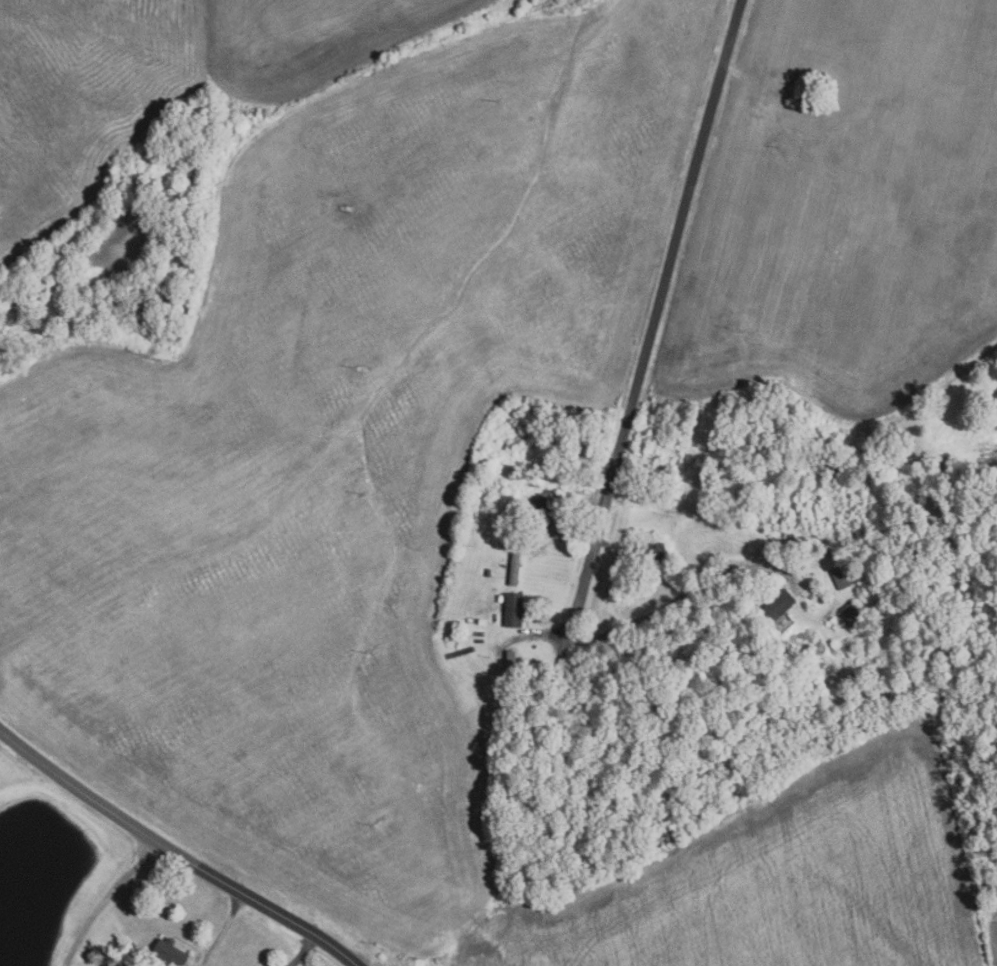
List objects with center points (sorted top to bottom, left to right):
road: (656, 316)
building: (661, 473)
building: (722, 474)
building: (775, 496)
building: (539, 508)
building: (790, 535)
building: (876, 549)
building: (655, 553)
building: (515, 568)
building: (488, 571)
building: (842, 576)
building: (631, 581)
building: (500, 598)
building: (777, 605)
road: (660, 608)
building: (513, 609)
building: (852, 613)
building: (482, 621)
building: (509, 669)
road: (175, 852)
road: (106, 899)
road: (303, 950)
building: (167, 952)

